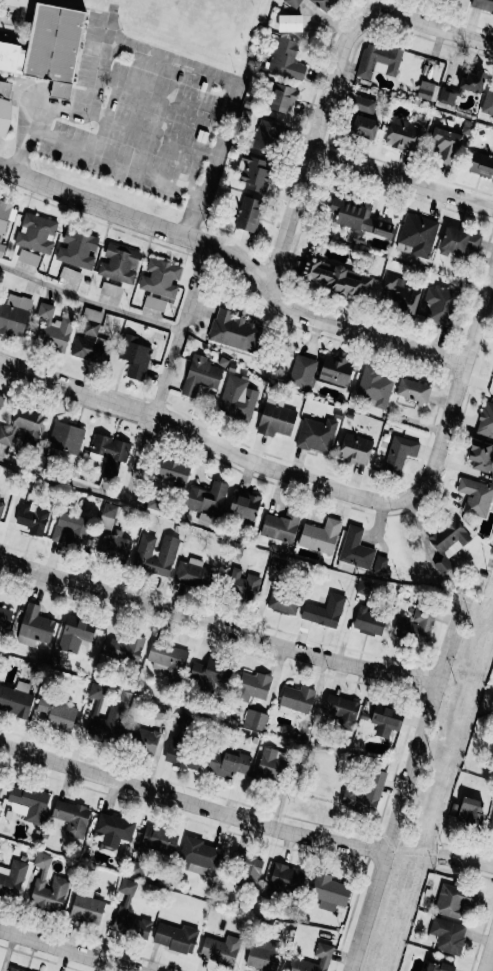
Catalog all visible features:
building: (293, 3)
building: (324, 4)
building: (483, 5)
building: (289, 23)
road: (428, 27)
road: (127, 42)
building: (47, 44)
building: (285, 59)
building: (378, 61)
building: (473, 81)
building: (427, 91)
road: (163, 95)
road: (46, 96)
building: (447, 97)
building: (282, 99)
building: (488, 102)
building: (362, 104)
building: (4, 107)
building: (492, 120)
building: (362, 126)
building: (267, 135)
building: (402, 135)
building: (445, 145)
road: (311, 152)
road: (112, 159)
building: (482, 164)
building: (255, 173)
road: (402, 181)
building: (248, 213)
building: (6, 217)
building: (358, 217)
building: (36, 233)
building: (416, 235)
building: (458, 242)
building: (77, 249)
building: (1, 250)
building: (28, 258)
road: (239, 260)
building: (119, 264)
building: (70, 275)
building: (160, 278)
building: (339, 279)
building: (111, 290)
building: (400, 295)
road: (88, 300)
building: (154, 304)
building: (438, 305)
building: (14, 315)
building: (91, 322)
building: (53, 329)
building: (235, 332)
building: (87, 350)
building: (134, 357)
building: (302, 371)
building: (335, 371)
building: (200, 376)
building: (375, 387)
building: (412, 391)
road: (456, 391)
building: (237, 399)
building: (1, 400)
building: (276, 420)
building: (486, 420)
building: (28, 425)
building: (6, 435)
road: (146, 435)
building: (316, 435)
building: (66, 437)
road: (201, 437)
building: (355, 449)
building: (109, 450)
building: (54, 453)
building: (399, 454)
building: (481, 457)
building: (171, 475)
building: (475, 497)
building: (244, 506)
building: (1, 509)
building: (107, 515)
building: (32, 519)
building: (281, 526)
building: (71, 534)
building: (320, 536)
building: (447, 544)
building: (115, 548)
building: (355, 549)
building: (155, 555)
building: (381, 567)
building: (192, 573)
building: (242, 584)
building: (283, 602)
building: (324, 611)
building: (4, 620)
building: (368, 622)
building: (414, 626)
building: (34, 627)
road: (216, 627)
building: (75, 634)
building: (125, 650)
building: (166, 657)
building: (208, 676)
building: (252, 688)
building: (16, 699)
building: (296, 700)
building: (116, 711)
building: (342, 711)
building: (57, 715)
building: (254, 720)
building: (385, 720)
building: (144, 741)
building: (183, 757)
building: (228, 763)
building: (270, 765)
building: (1, 783)
road: (403, 786)
building: (364, 794)
building: (28, 804)
road: (190, 804)
building: (470, 812)
building: (72, 818)
building: (491, 824)
building: (113, 829)
road: (412, 853)
building: (199, 856)
road: (466, 859)
building: (247, 868)
building: (286, 878)
building: (12, 879)
building: (59, 883)
building: (329, 892)
building: (124, 893)
building: (454, 901)
building: (87, 909)
building: (131, 925)
building: (447, 936)
building: (175, 938)
road: (79, 947)
building: (220, 949)
building: (262, 956)
building: (321, 958)
road: (490, 962)
building: (438, 967)
building: (12, 970)

